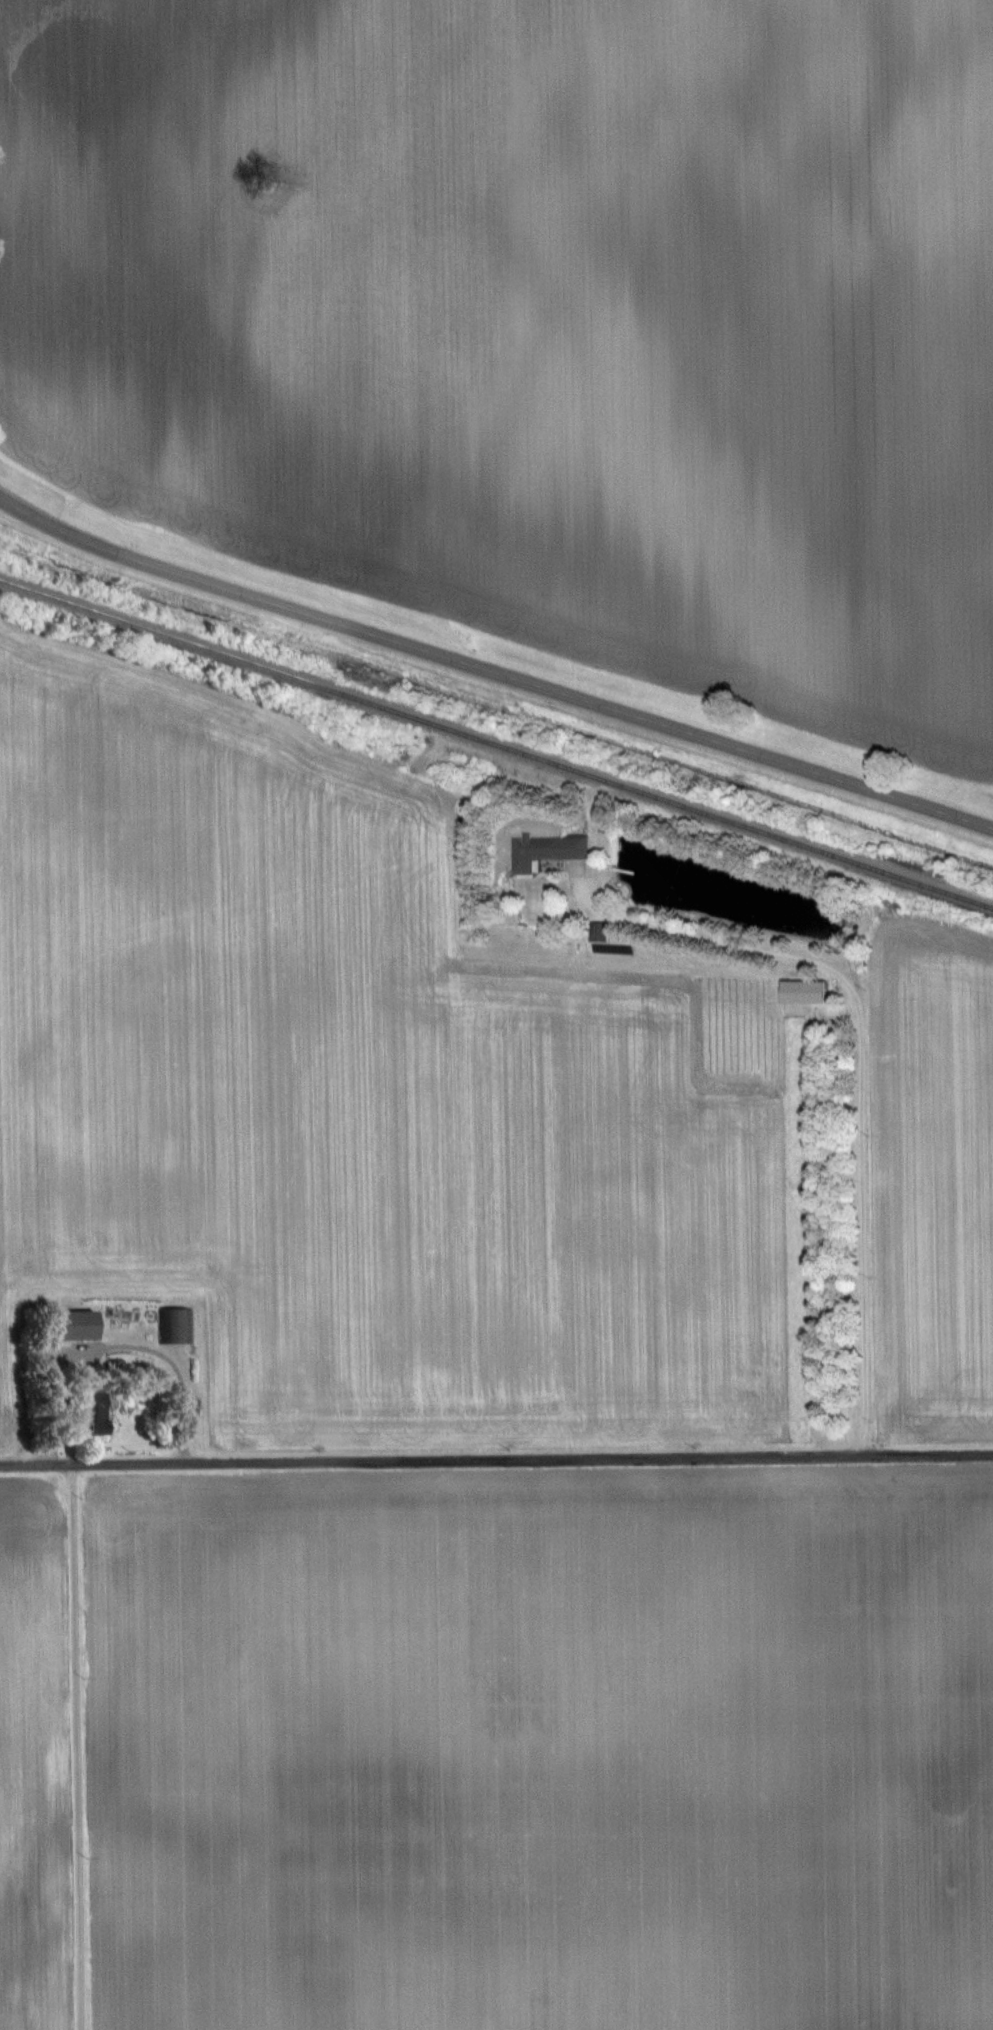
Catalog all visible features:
road: (492, 671)
railway: (496, 744)
building: (534, 850)
building: (803, 991)
road: (862, 1104)
building: (72, 1324)
building: (178, 1325)
road: (174, 1364)
building: (91, 1415)
road: (496, 1459)
road: (75, 1748)

